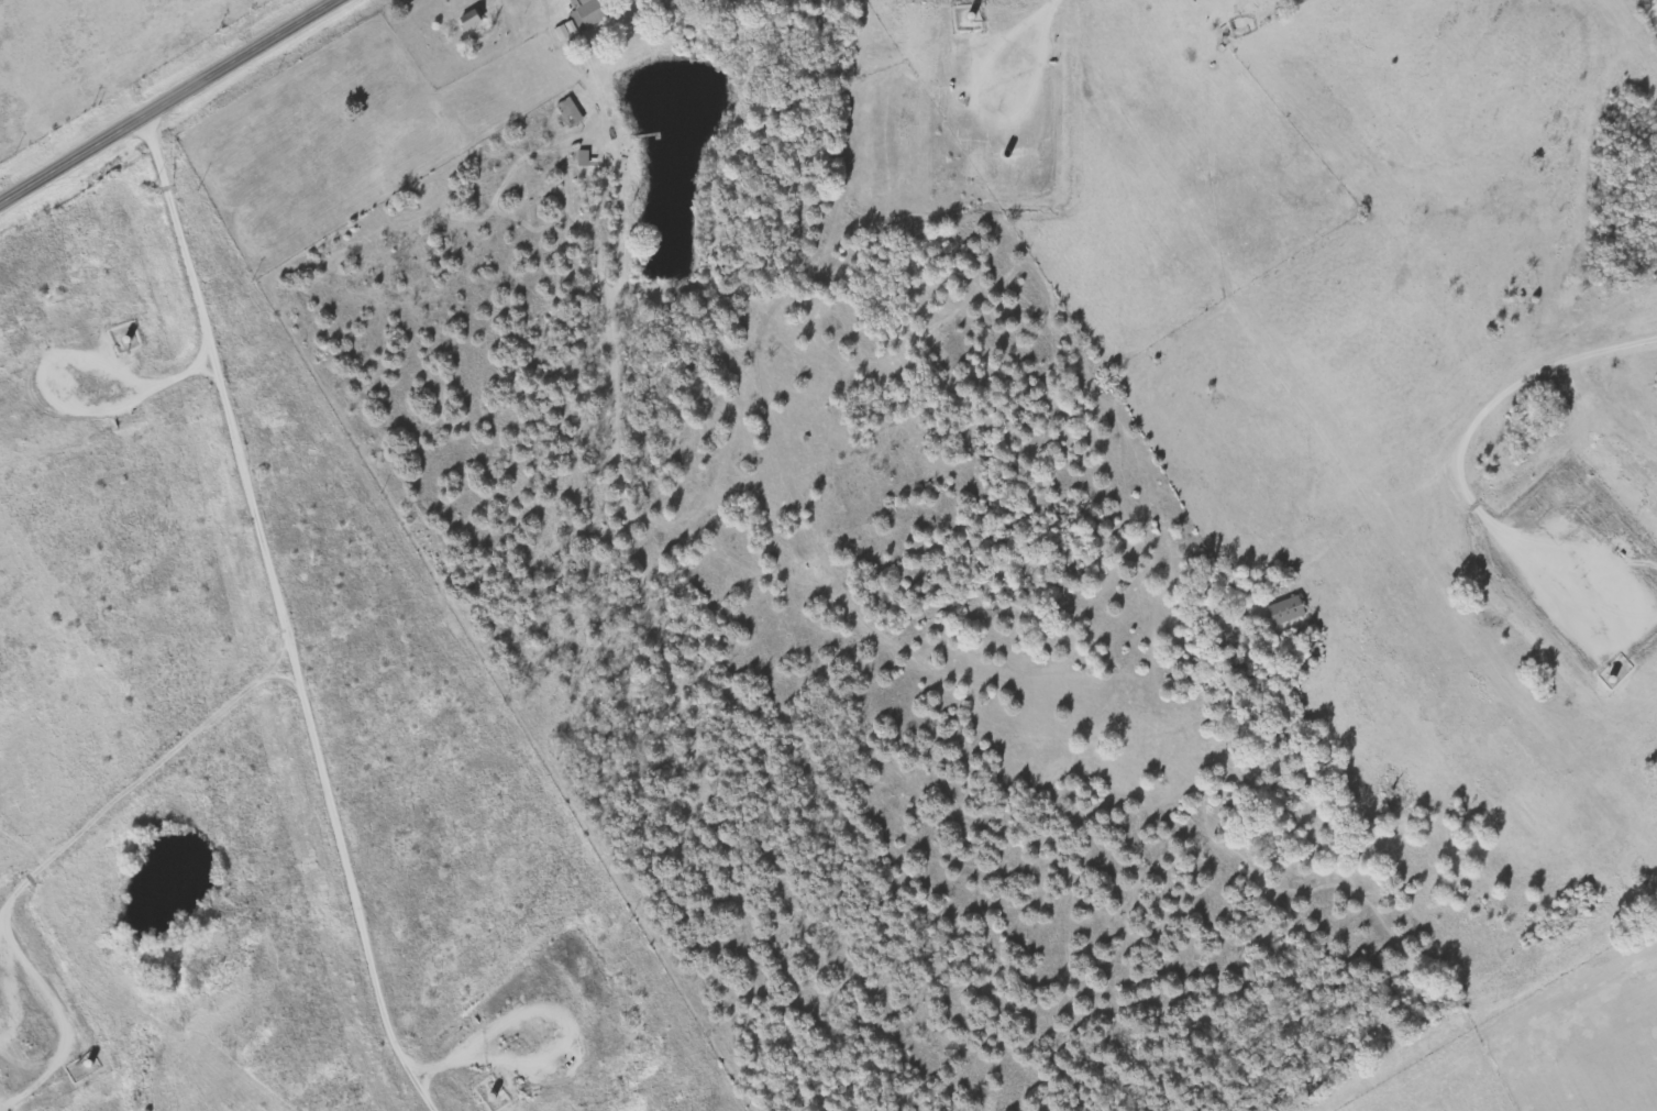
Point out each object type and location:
road: (1650, 10)
building: (587, 16)
building: (475, 20)
road: (166, 99)
building: (573, 113)
building: (586, 159)
road: (276, 612)
building: (1288, 612)

